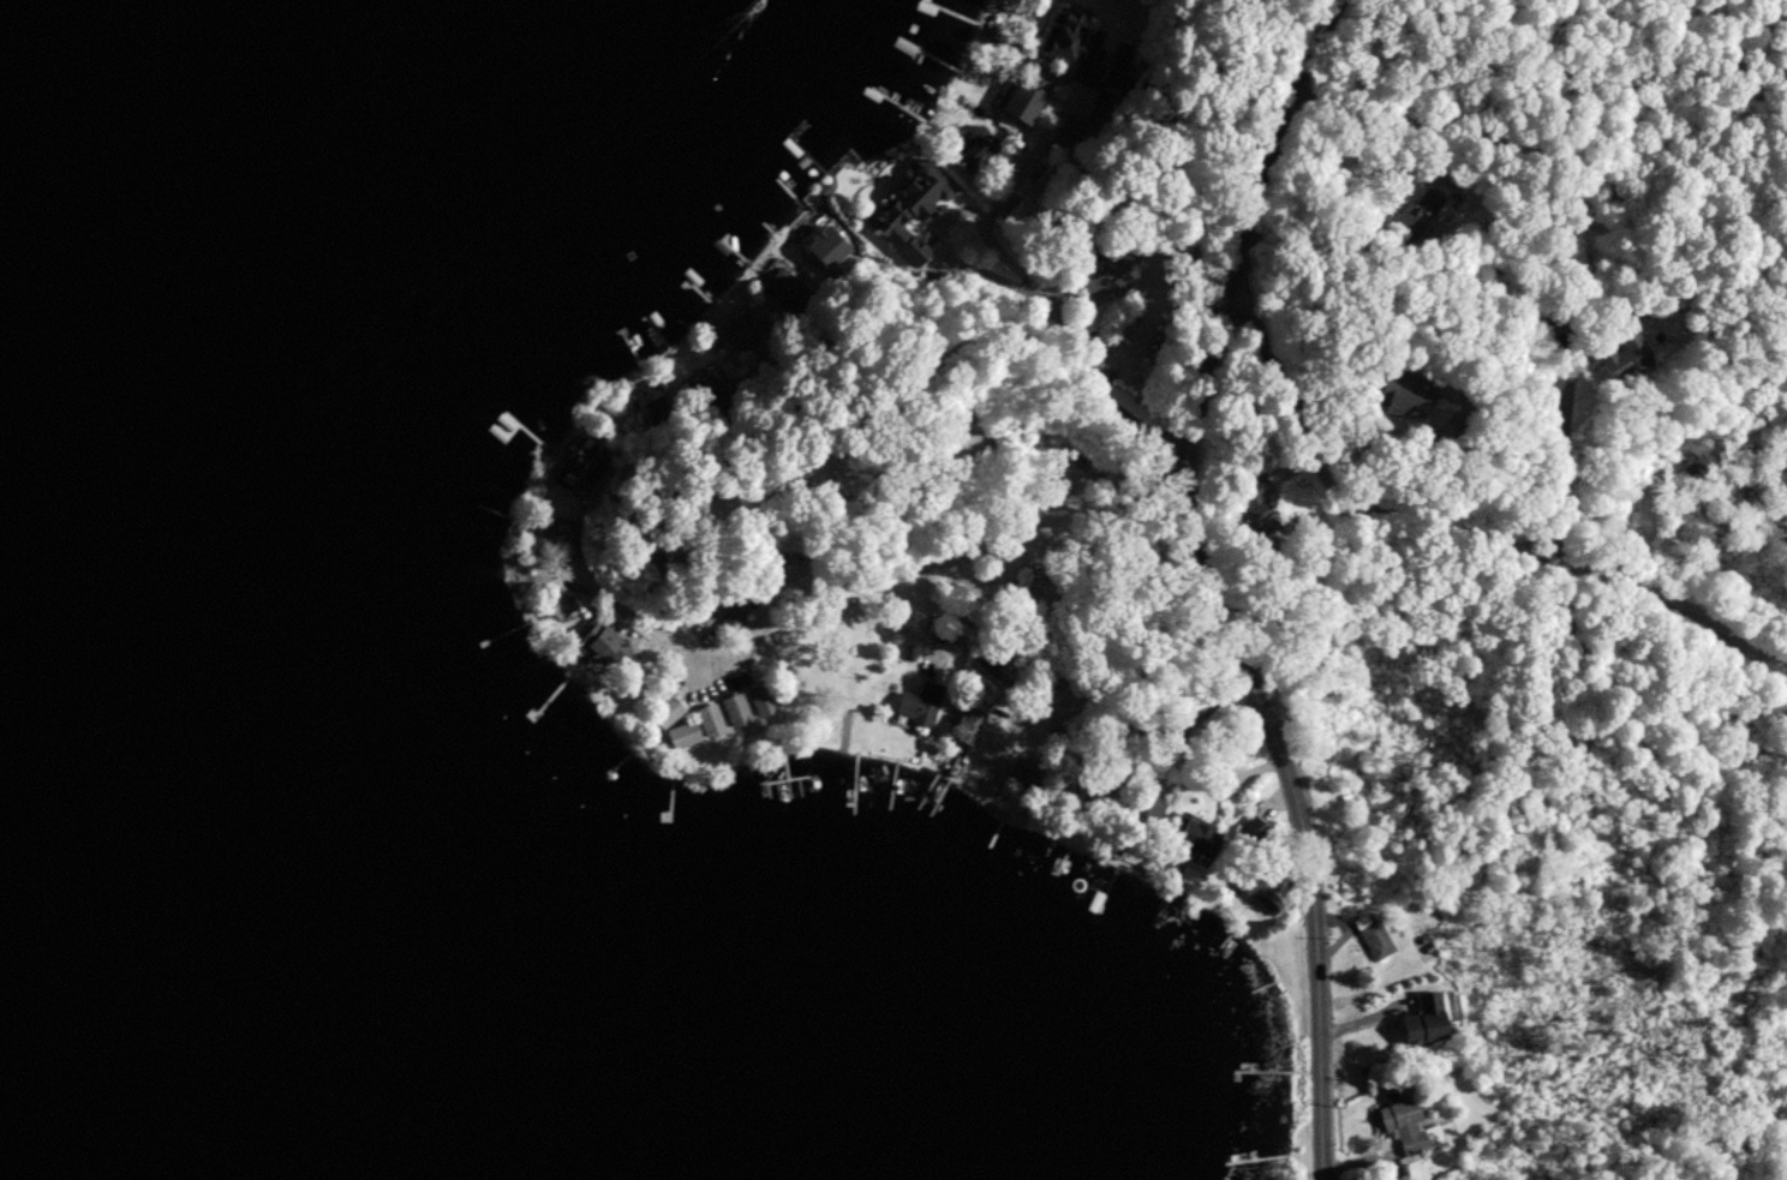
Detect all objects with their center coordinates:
building: (1066, 36)
road: (1044, 131)
road: (1352, 140)
road: (942, 214)
building: (1423, 232)
building: (829, 250)
building: (783, 290)
road: (1005, 305)
building: (1625, 358)
building: (1389, 400)
road: (1555, 454)
building: (1243, 510)
road: (1492, 533)
road: (860, 568)
road: (1202, 586)
road: (862, 610)
building: (567, 611)
building: (614, 652)
road: (1134, 699)
building: (766, 705)
building: (739, 715)
building: (701, 732)
building: (1203, 774)
building: (1132, 809)
building: (1183, 840)
building: (1251, 840)
building: (1373, 944)
building: (1418, 1026)
building: (1406, 1131)

